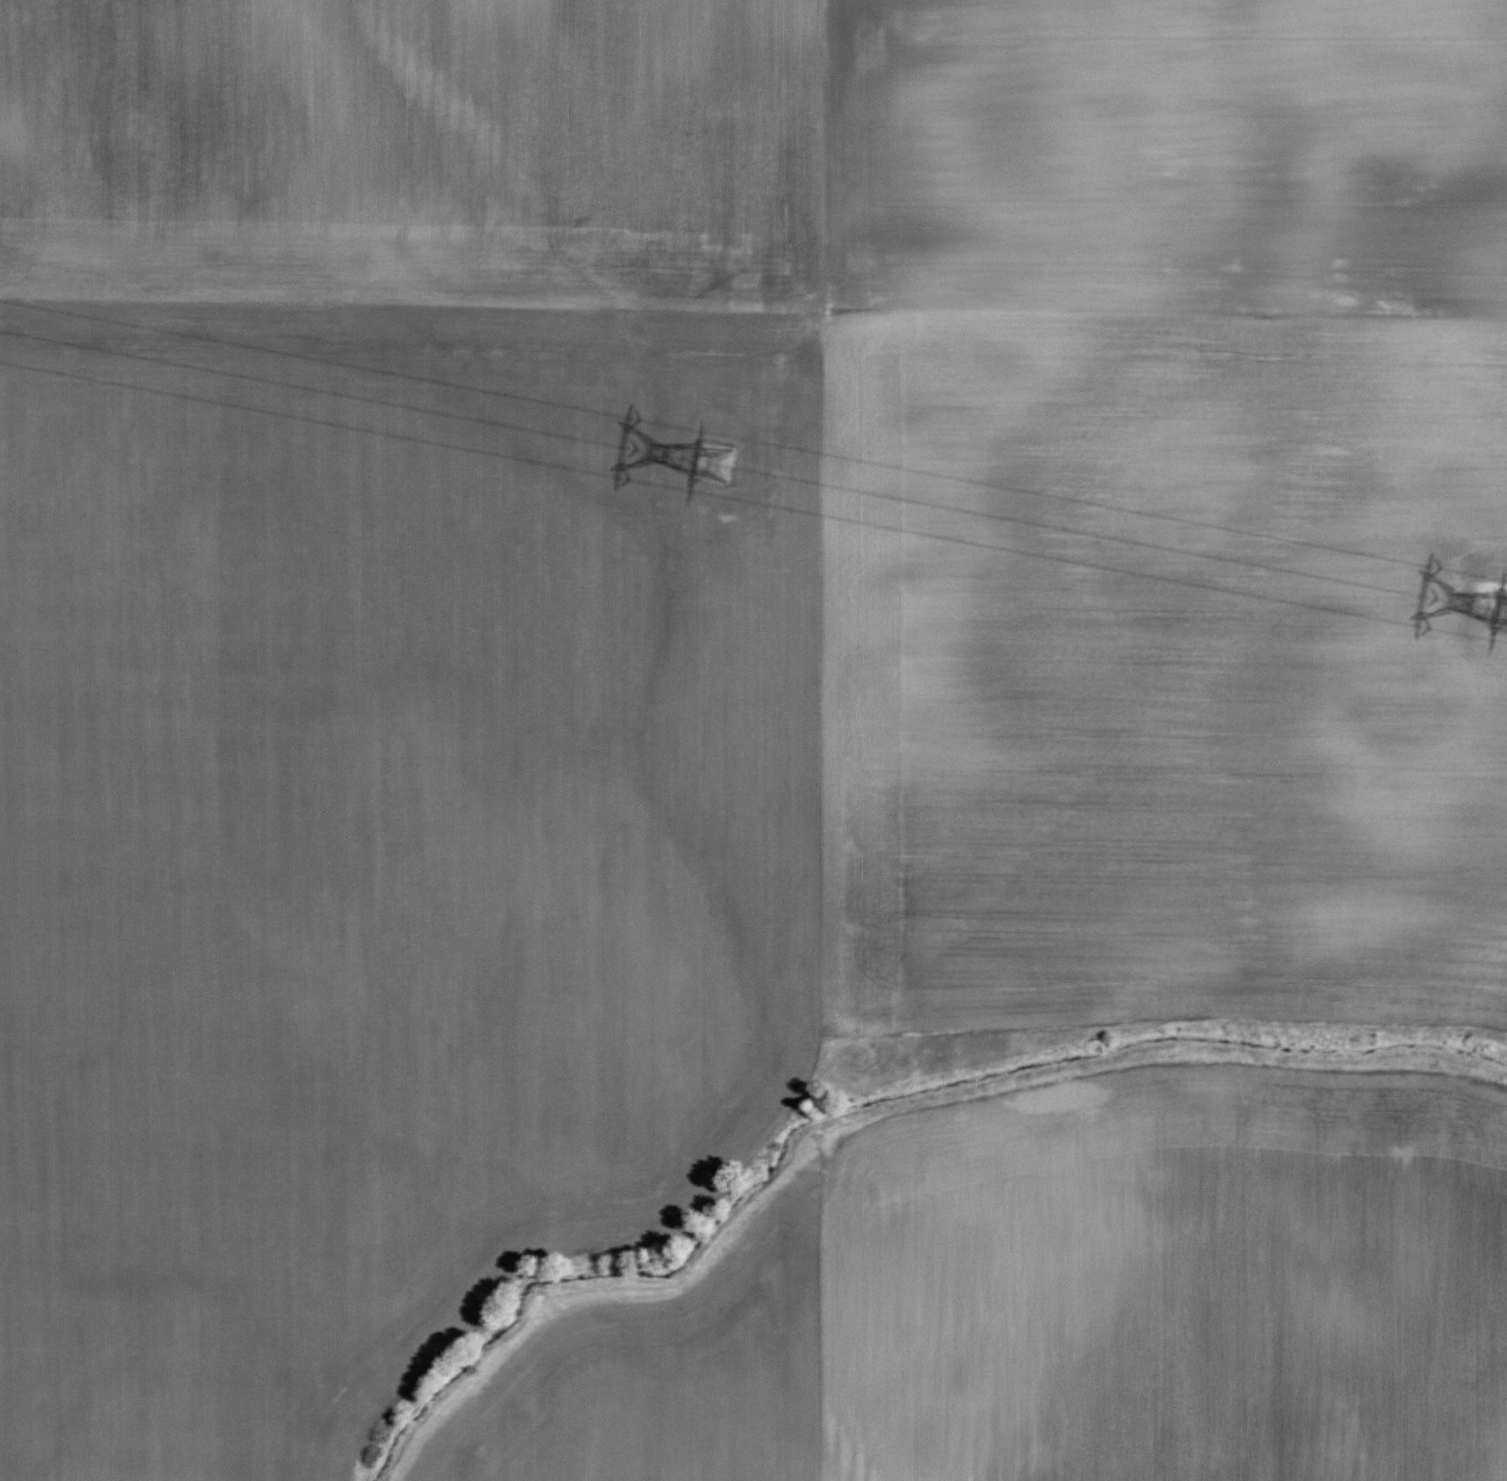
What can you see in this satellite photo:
power tower: (713, 469)

